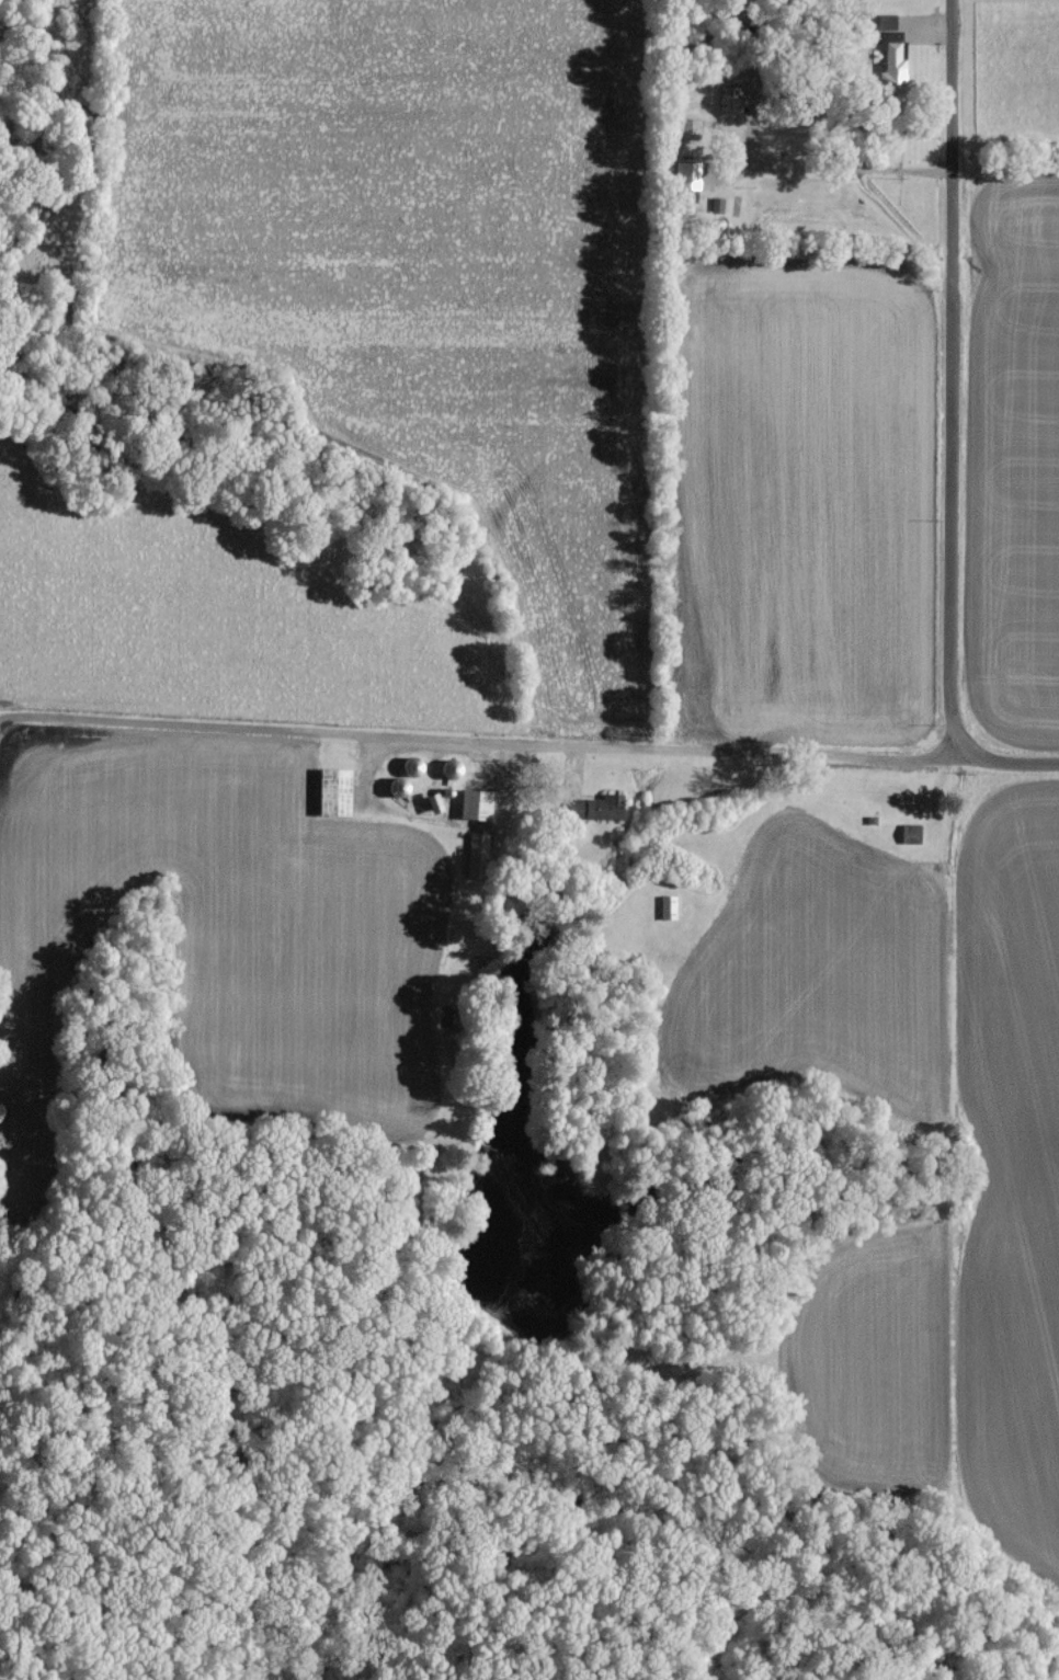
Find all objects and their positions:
building: (887, 20)
building: (892, 55)
building: (731, 99)
road: (836, 170)
building: (687, 173)
road: (956, 375)
road: (488, 758)
building: (335, 790)
building: (434, 802)
building: (476, 803)
building: (599, 805)
building: (911, 832)
building: (478, 854)

